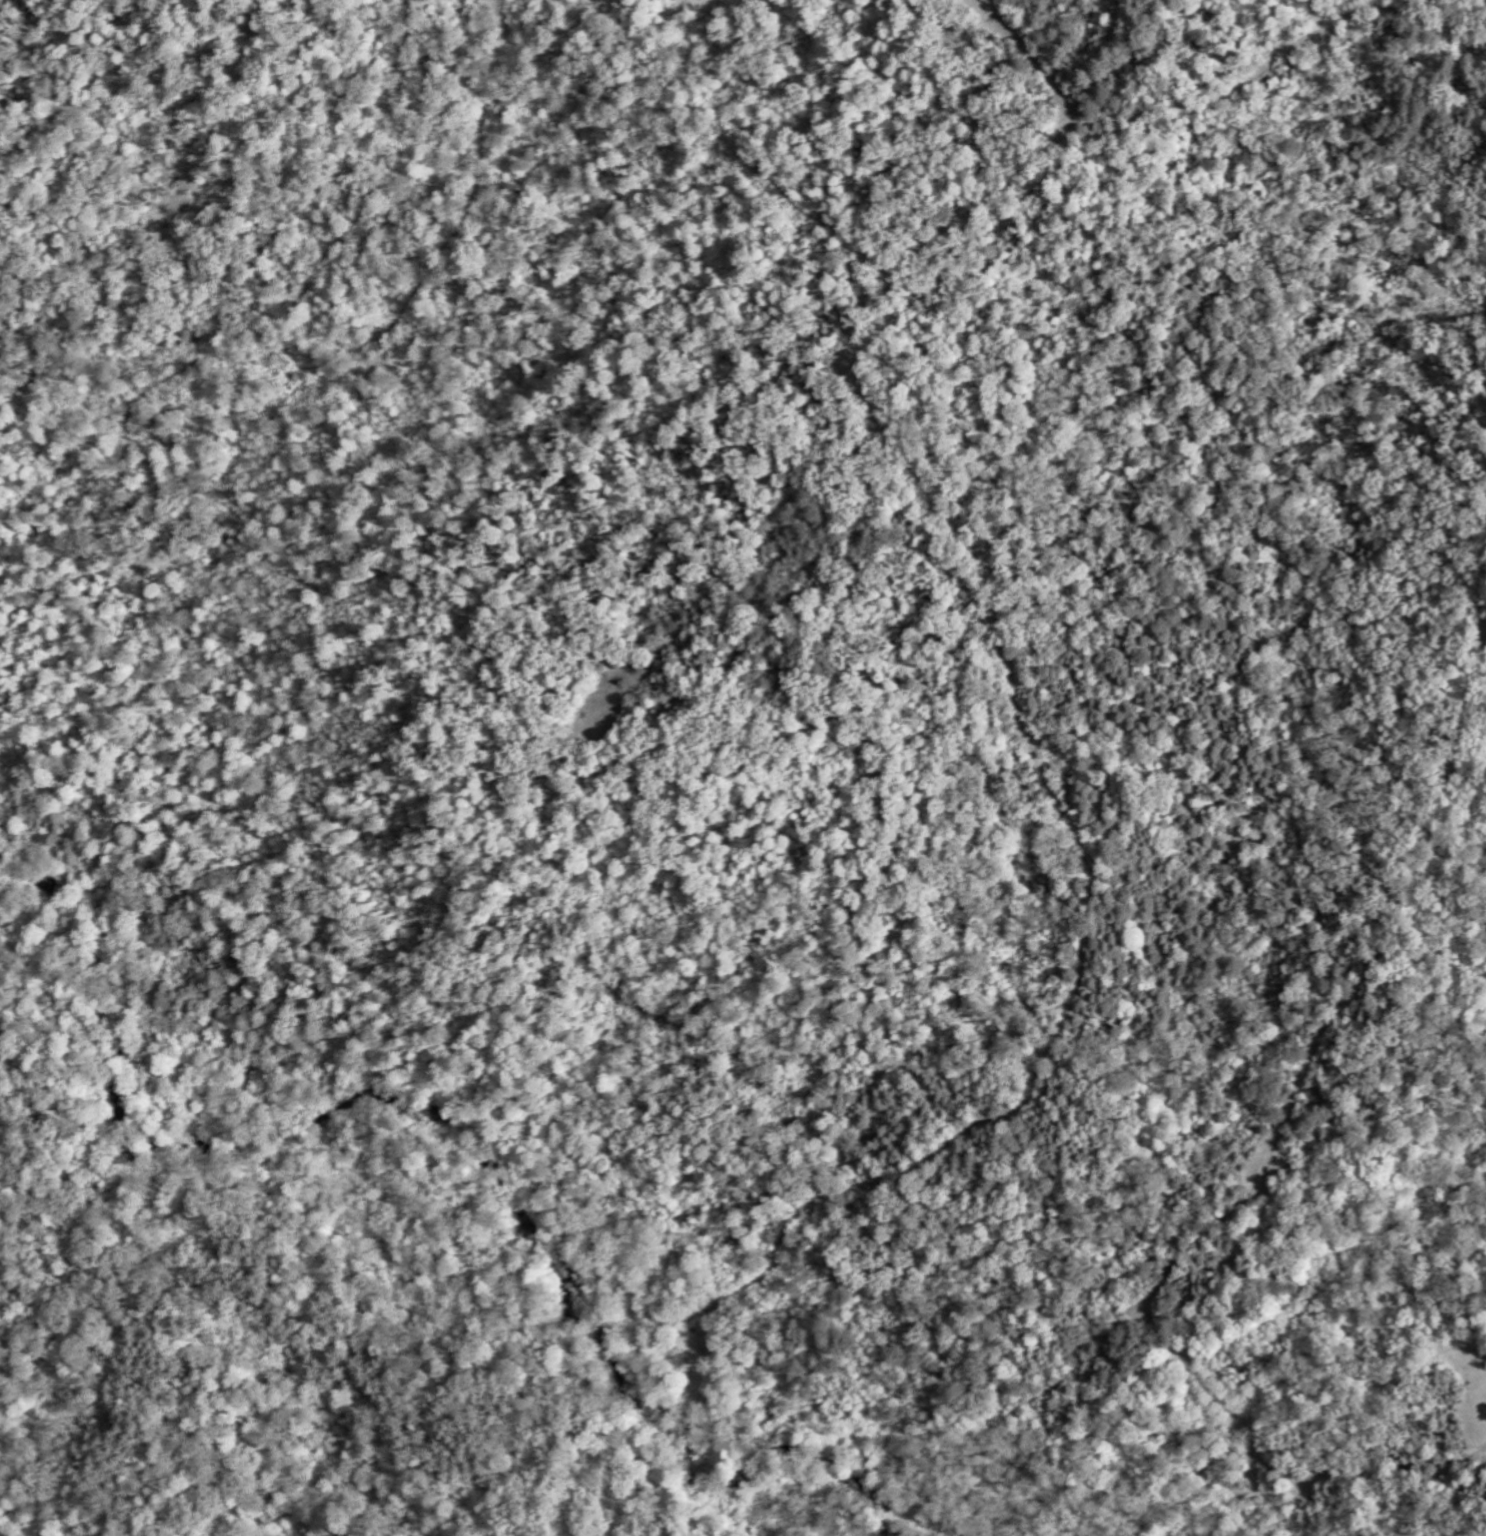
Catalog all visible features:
road: (1320, 843)

